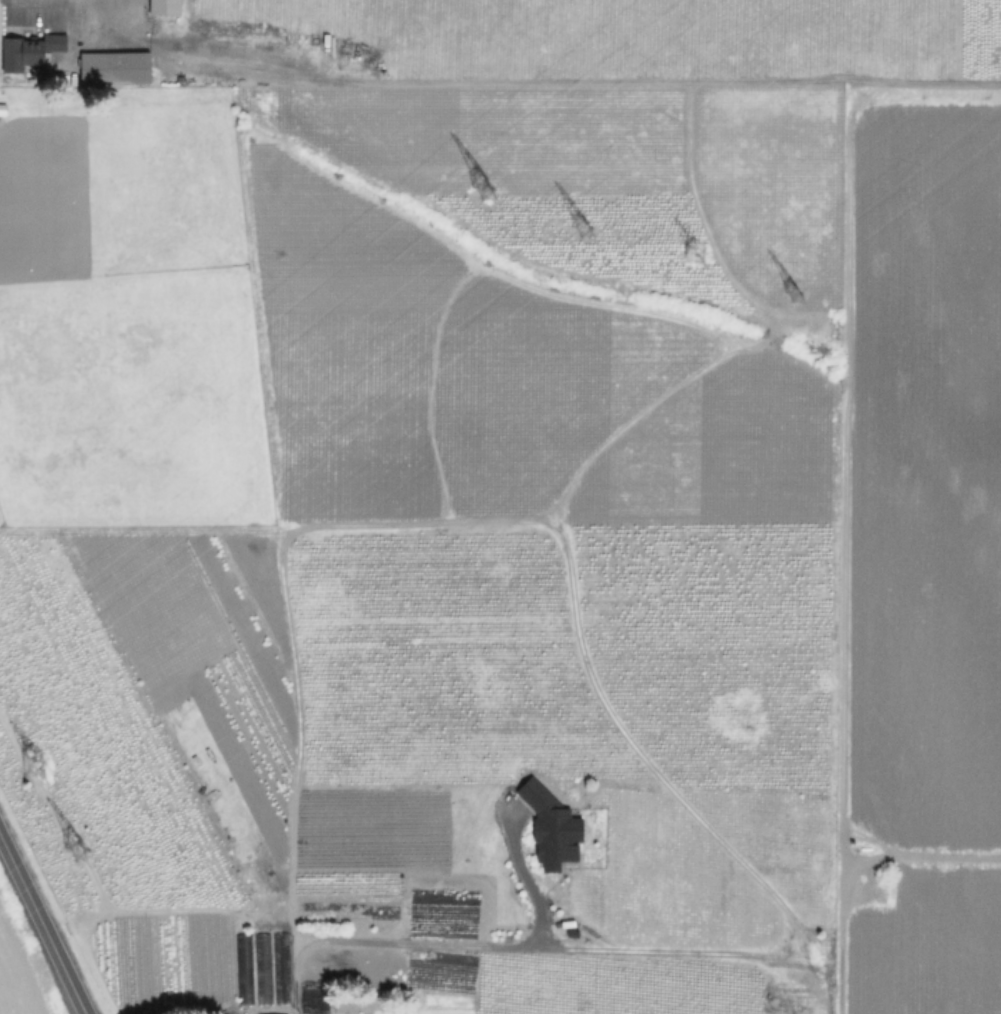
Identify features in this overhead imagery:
building: (167, 6)
road: (106, 26)
building: (22, 51)
building: (117, 68)
road: (569, 82)
building: (969, 98)
power tower: (476, 189)
power tower: (577, 224)
power tower: (694, 250)
power tower: (795, 290)
crop: (920, 559)
power tower: (39, 768)
building: (556, 821)
power tower: (75, 850)
road: (43, 925)
road: (445, 943)
building: (275, 1012)

